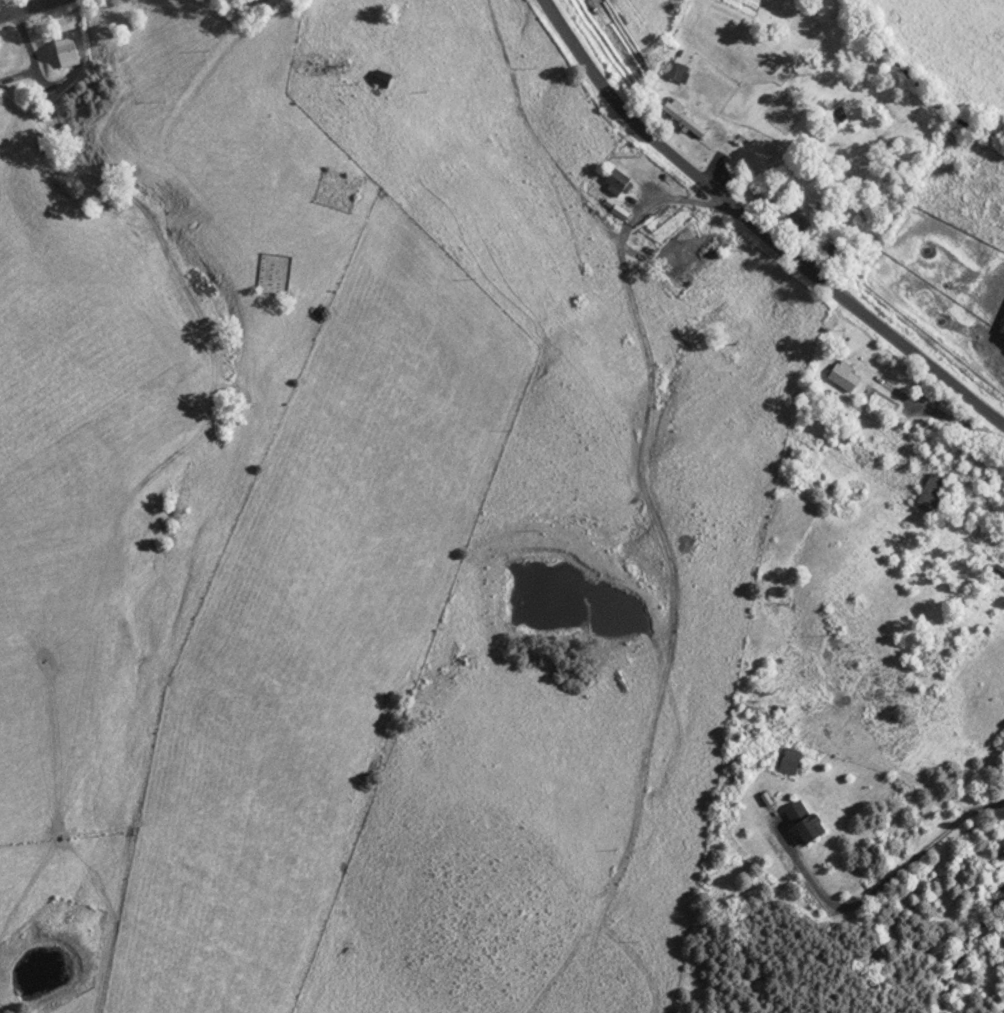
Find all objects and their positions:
road: (25, 8)
building: (676, 72)
building: (615, 180)
road: (757, 228)
building: (1001, 332)
building: (843, 376)
building: (929, 491)
building: (788, 762)
building: (801, 822)
road: (879, 893)

